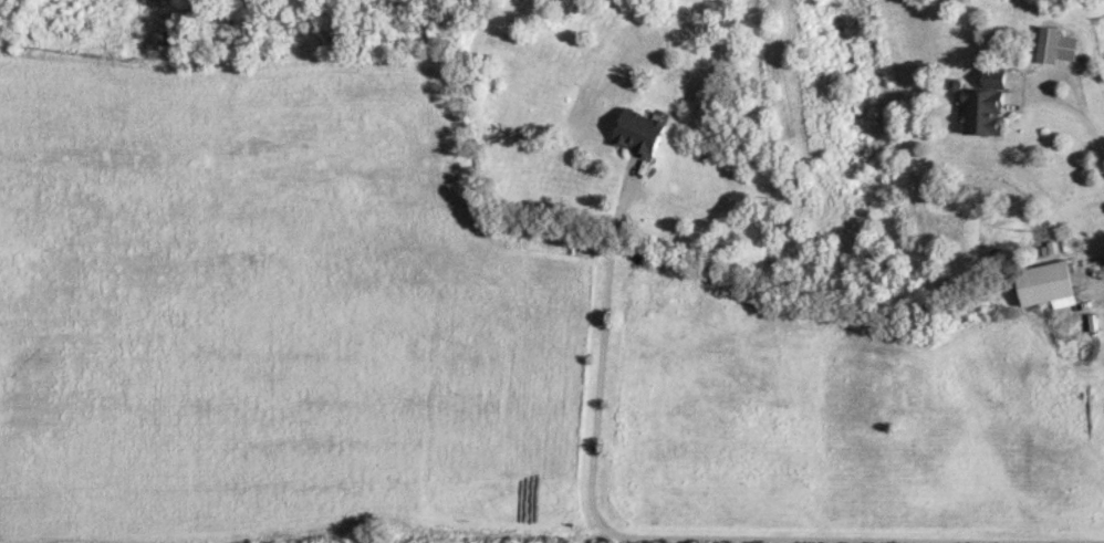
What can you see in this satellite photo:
building: (1055, 45)
power tower: (71, 49)
power tower: (140, 61)
building: (982, 107)
road: (1084, 122)
building: (642, 132)
building: (1048, 284)
road: (684, 536)

